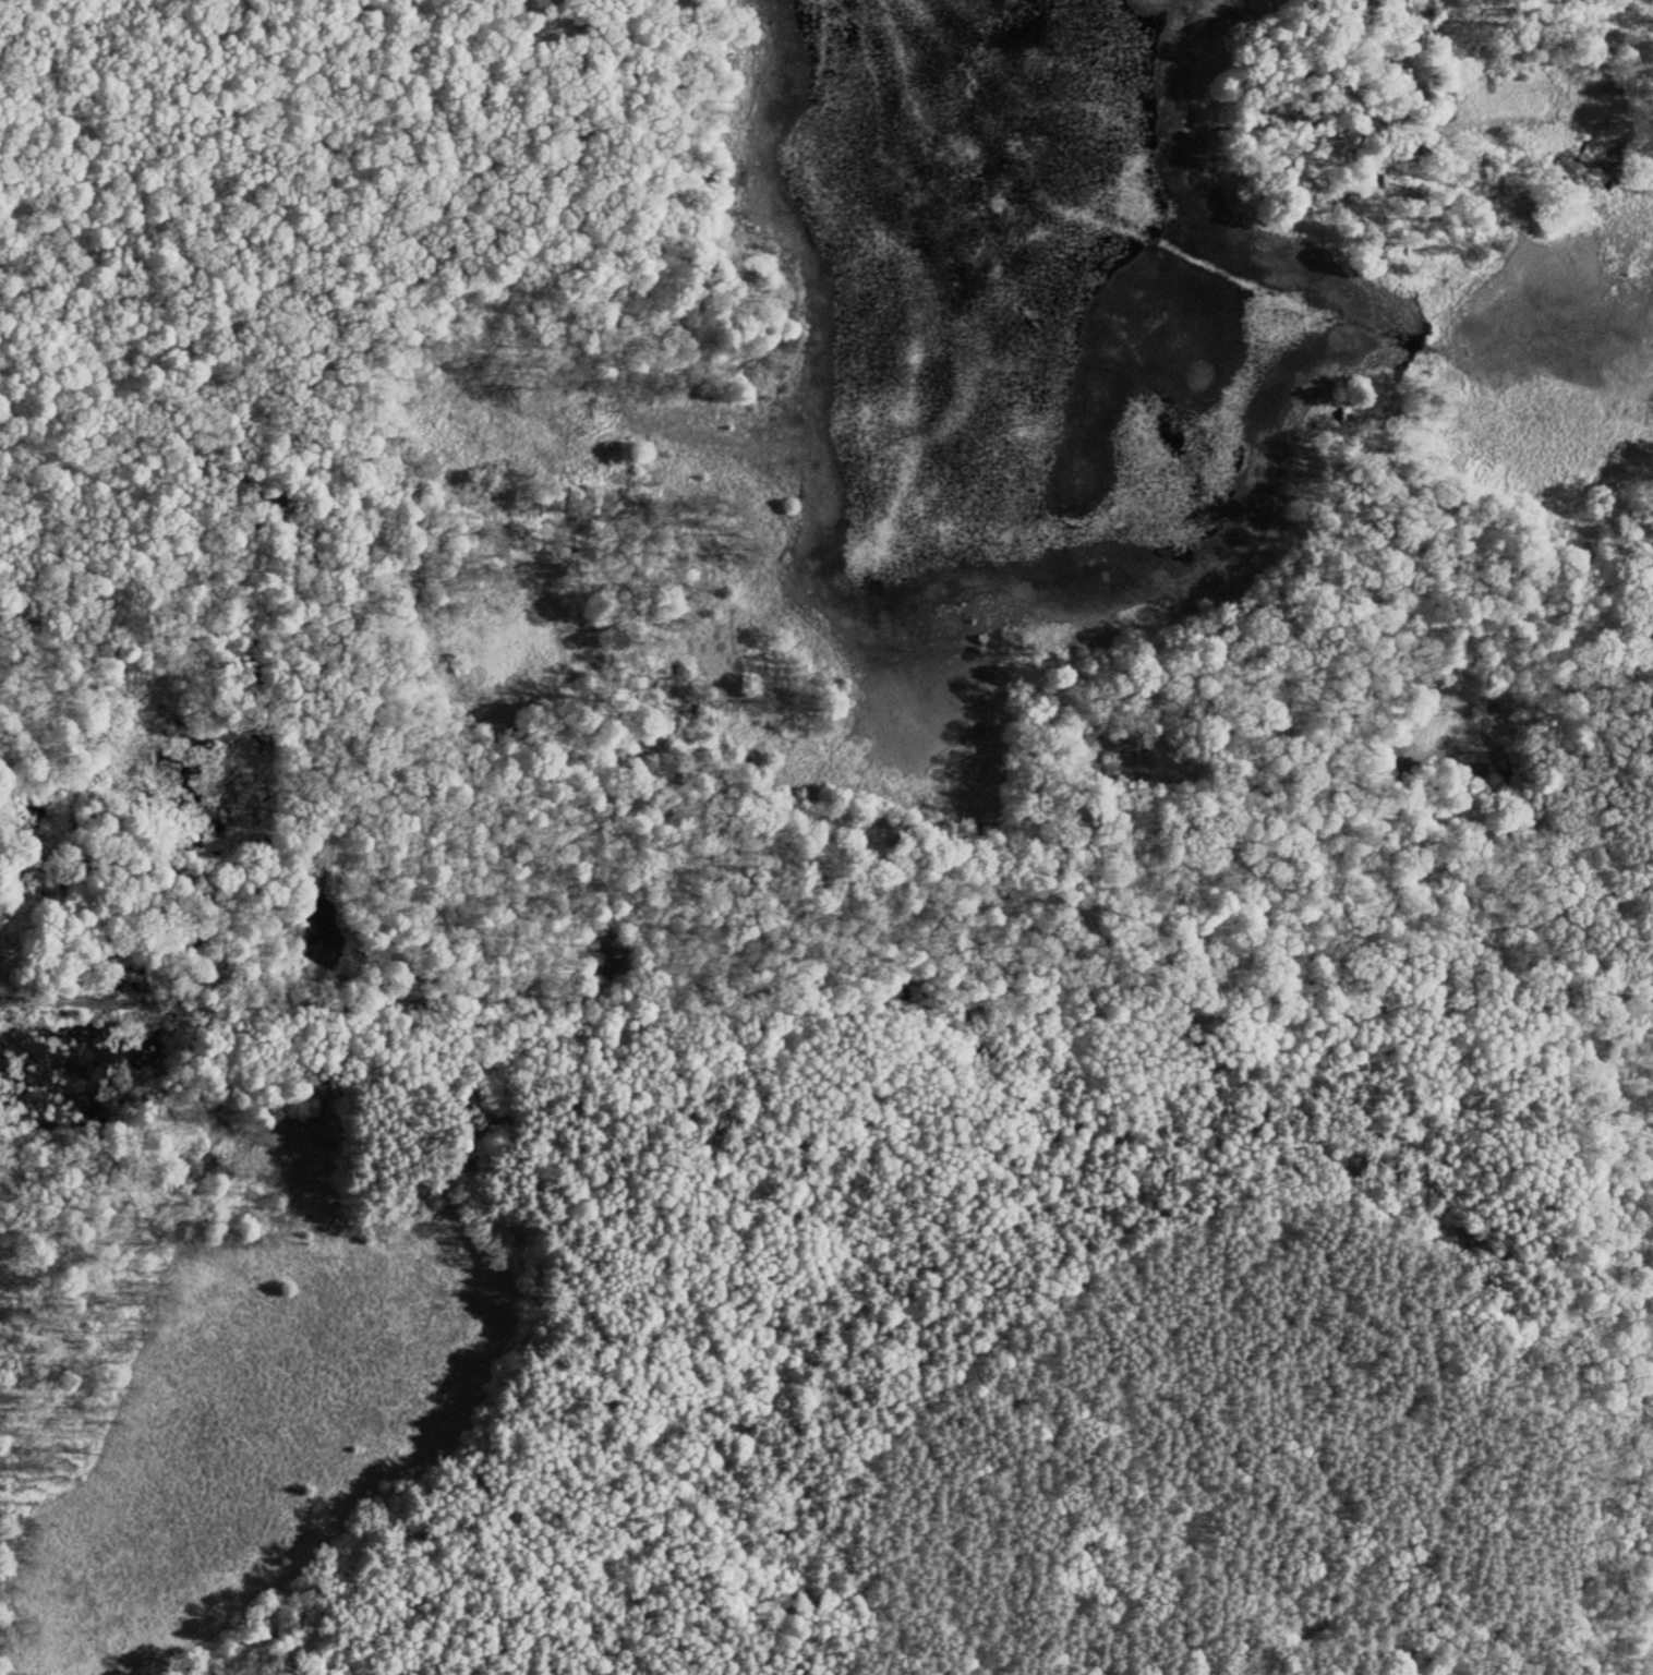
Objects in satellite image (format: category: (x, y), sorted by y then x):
road: (1607, 973)
road: (781, 985)

